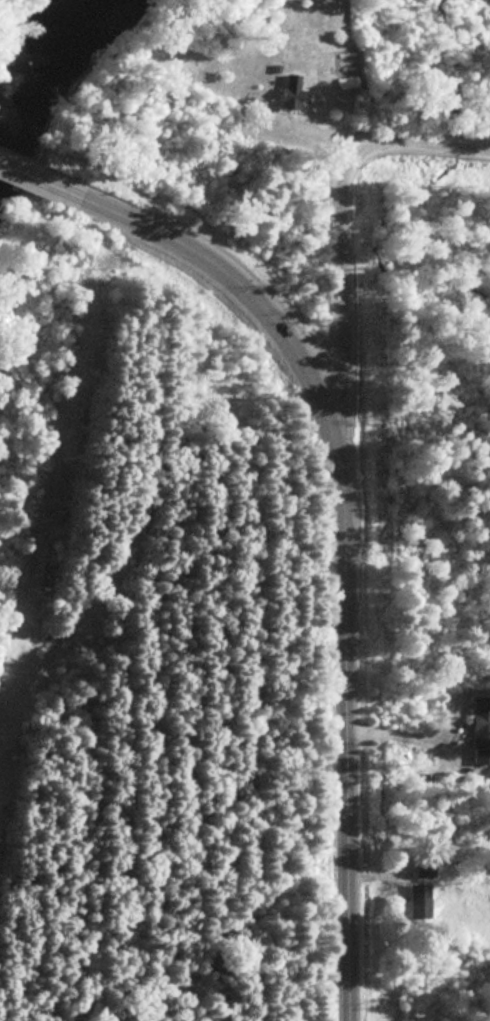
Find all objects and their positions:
river: (47, 77)
building: (285, 90)
road: (37, 181)
road: (344, 248)
park: (415, 419)
road: (343, 543)
road: (403, 729)
building: (479, 729)
building: (417, 900)
park: (420, 988)

